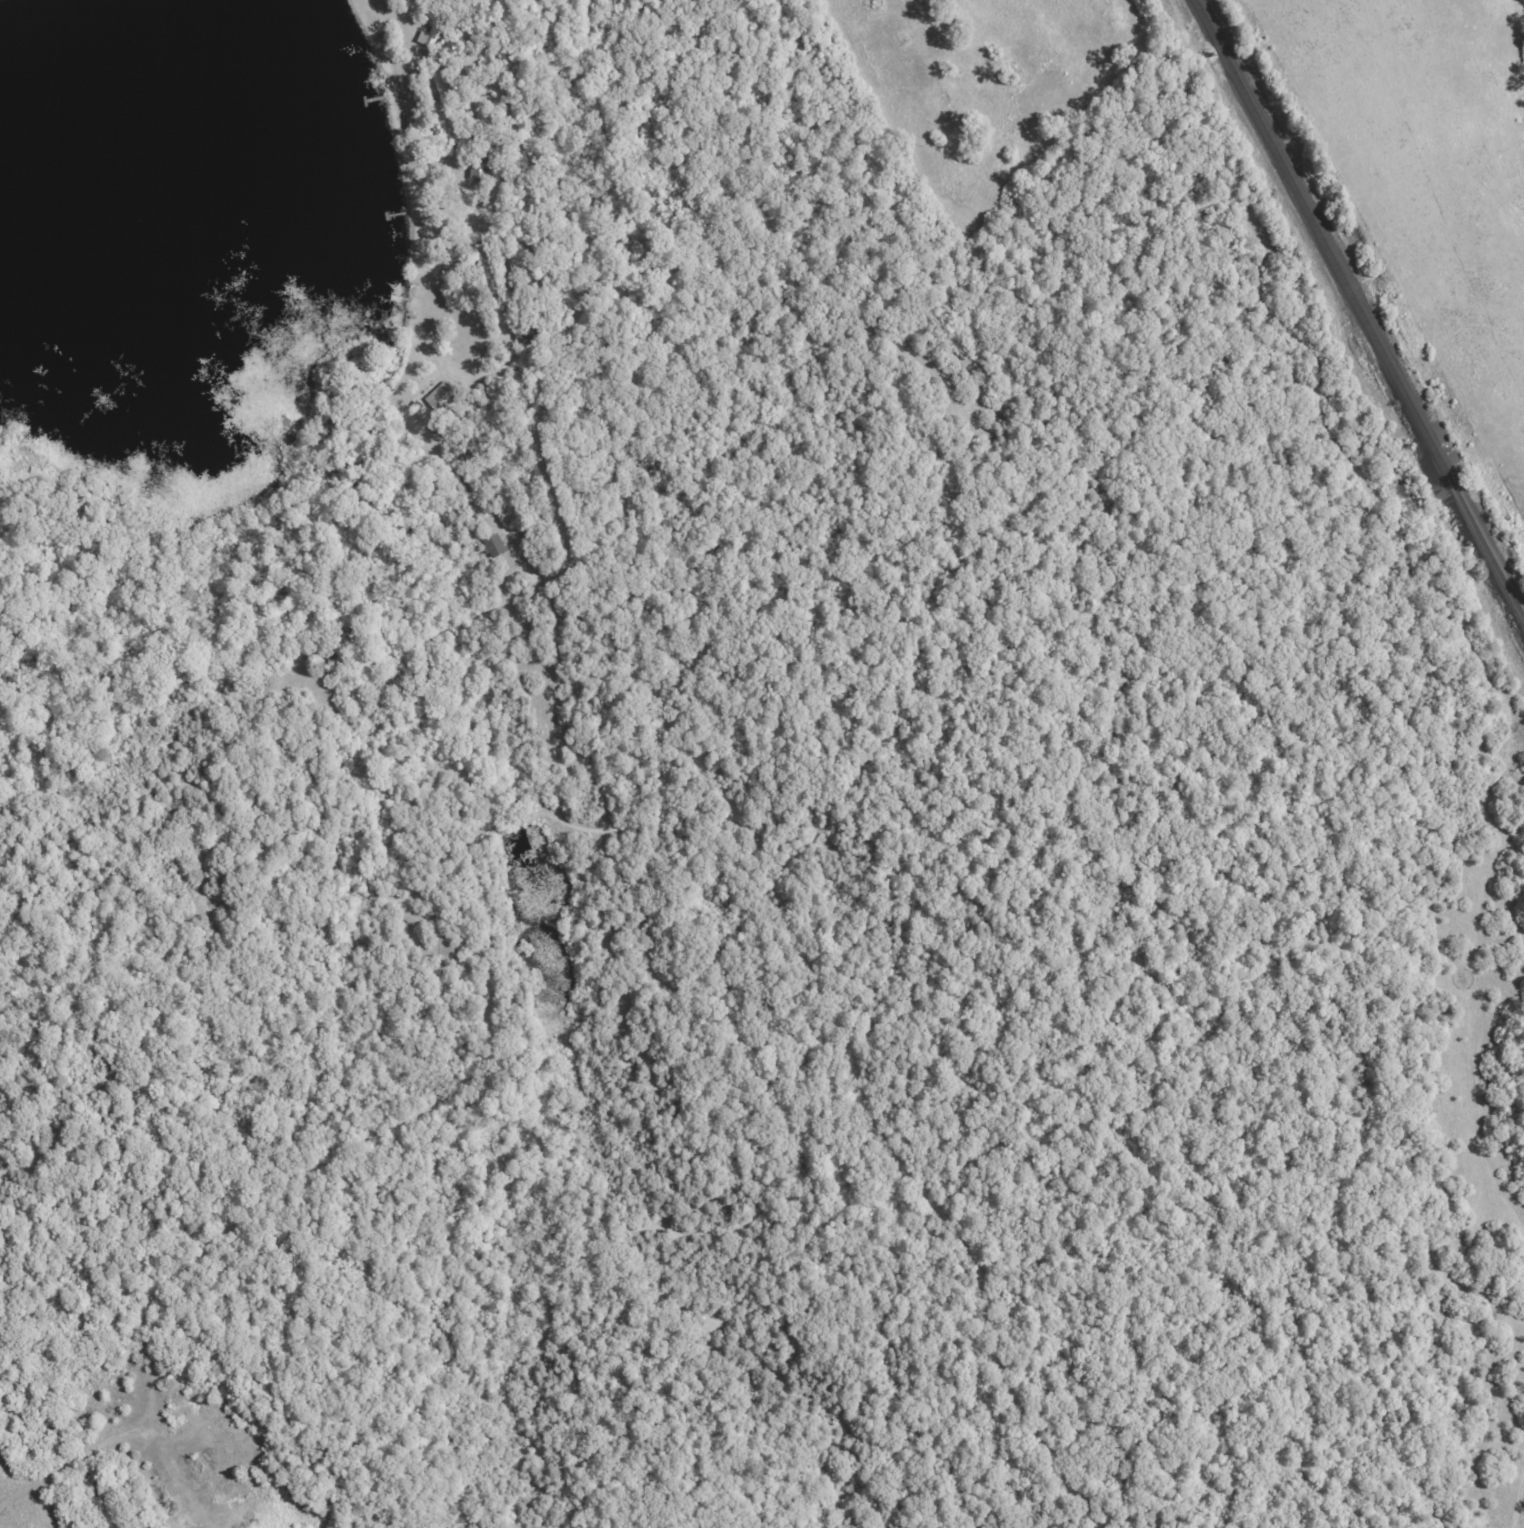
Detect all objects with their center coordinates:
building: (432, 29)
railway: (1357, 313)
road: (436, 479)
building: (495, 546)
road: (25, 668)
road: (737, 774)
building: (442, 948)

